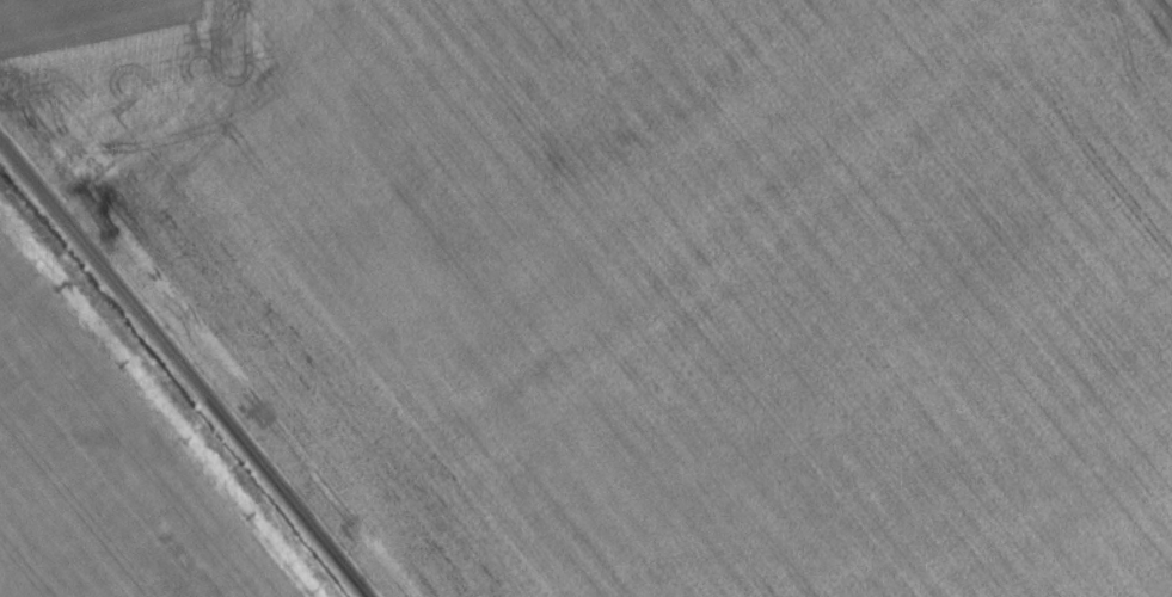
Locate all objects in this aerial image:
road: (180, 371)

